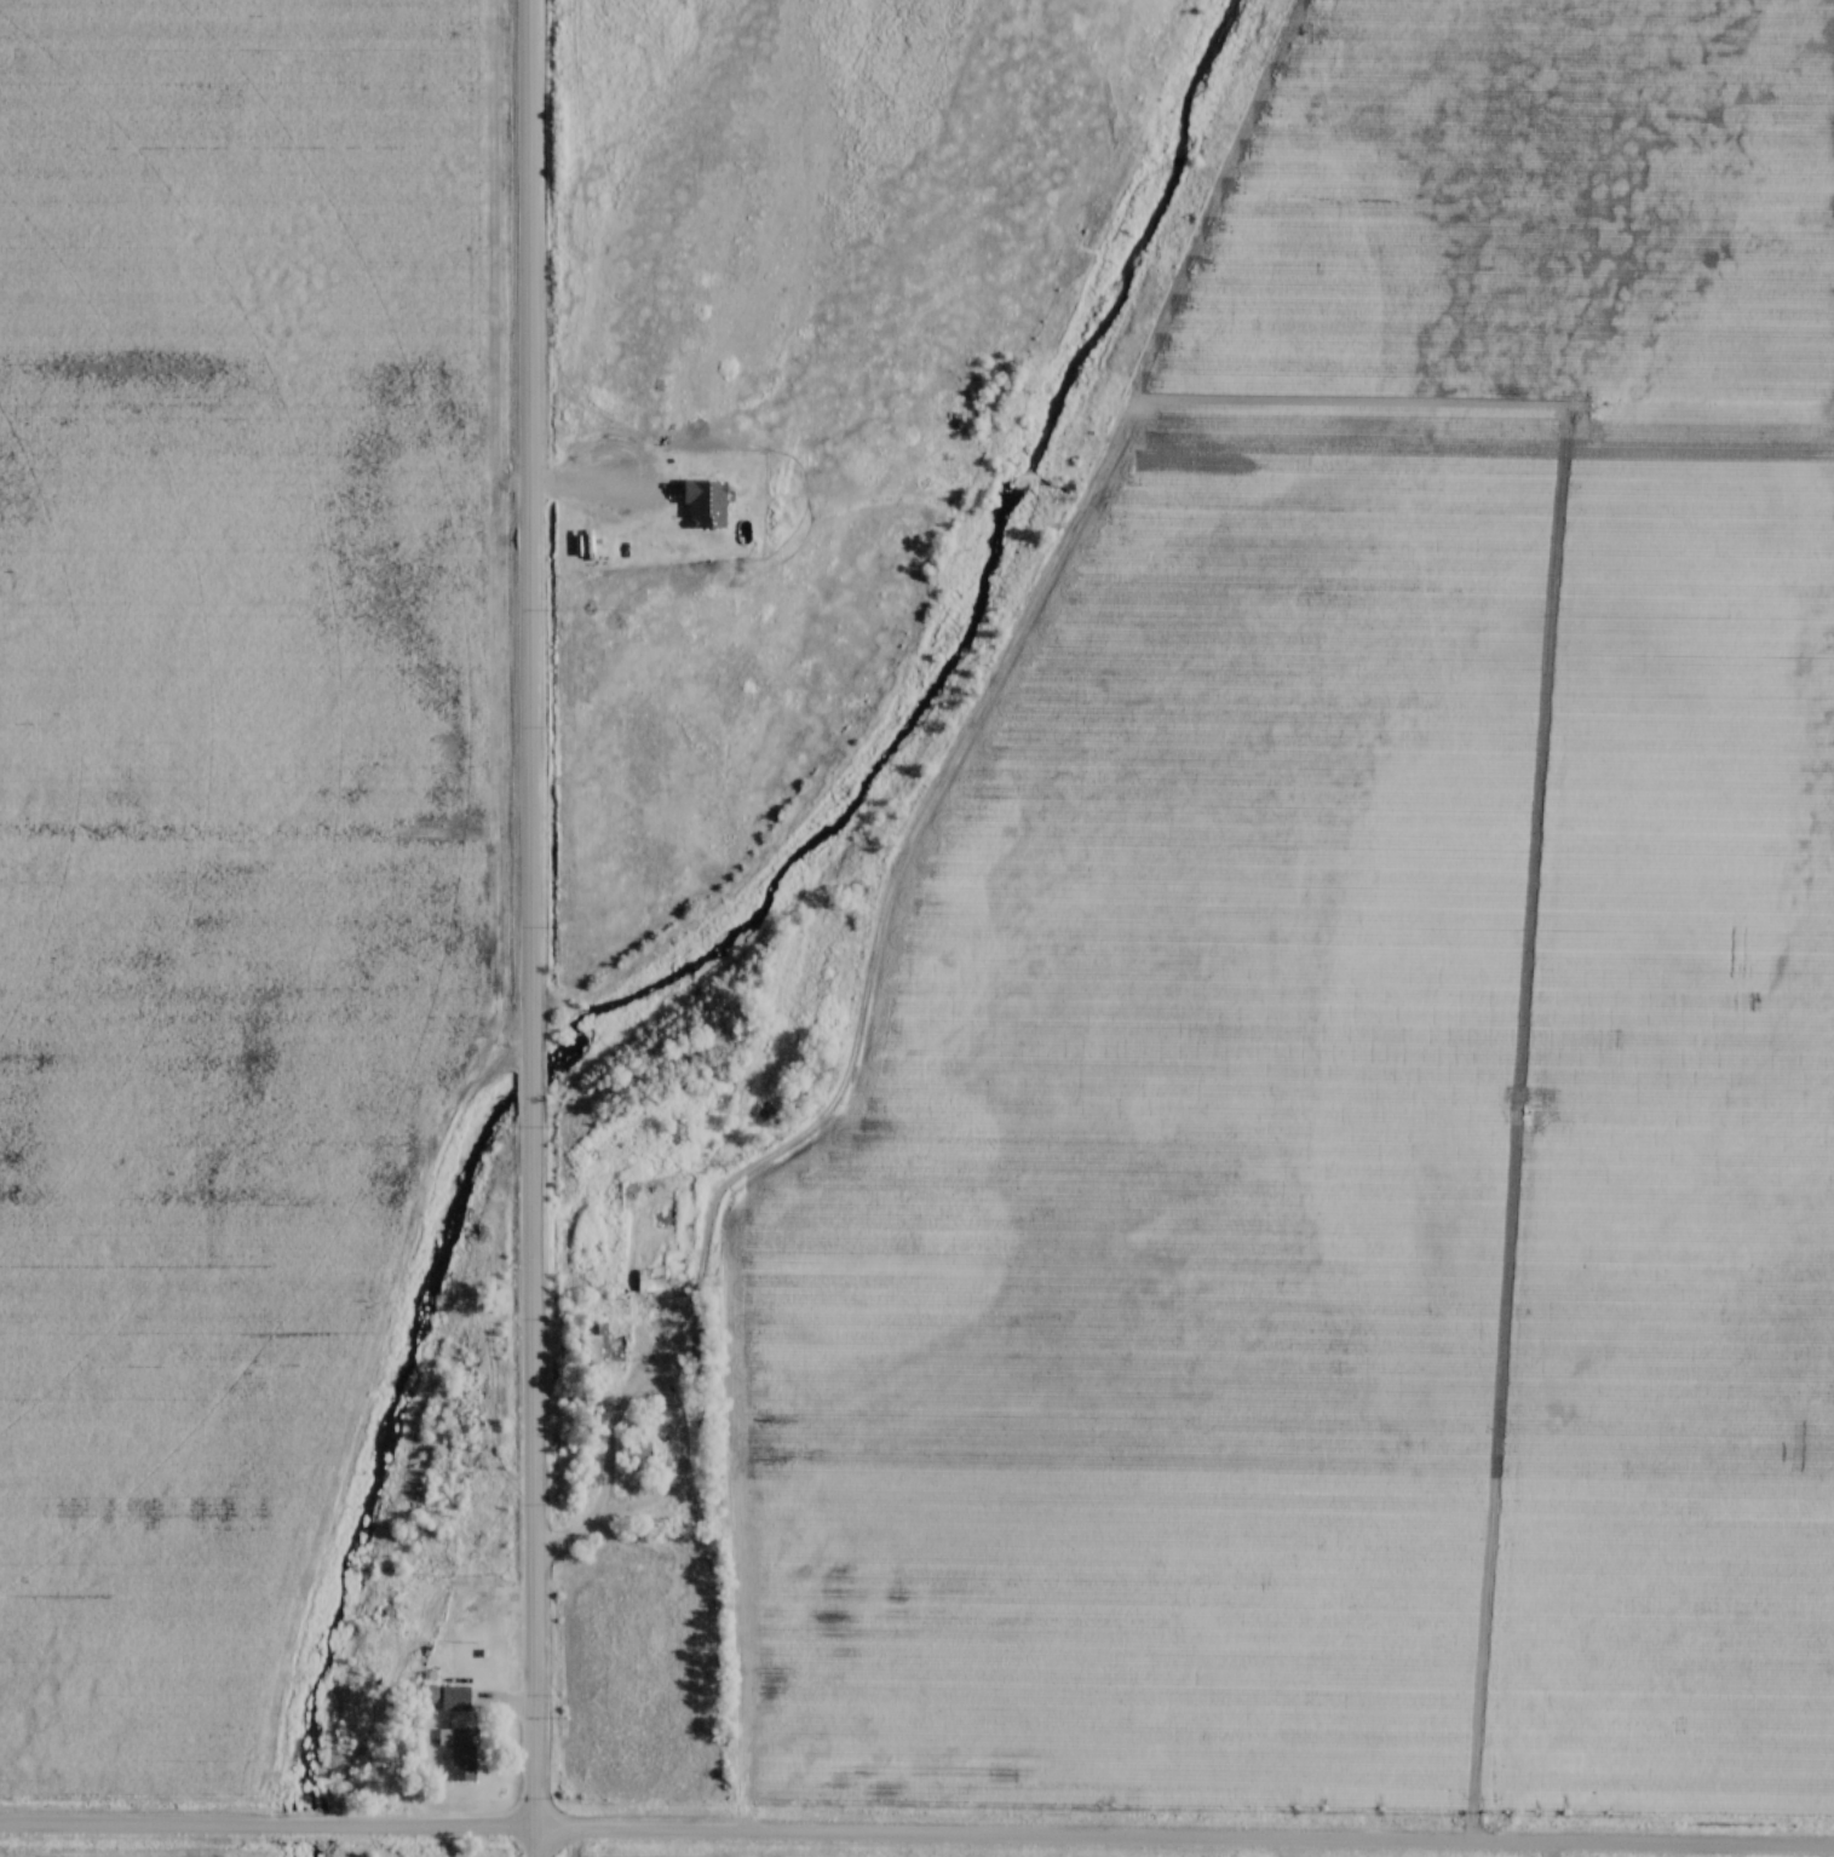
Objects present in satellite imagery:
building: (708, 504)
road: (528, 928)
building: (651, 1281)
building: (593, 1347)
building: (591, 1399)
building: (638, 1447)
road: (592, 1508)
building: (421, 1533)
building: (464, 1755)
road: (916, 1840)

